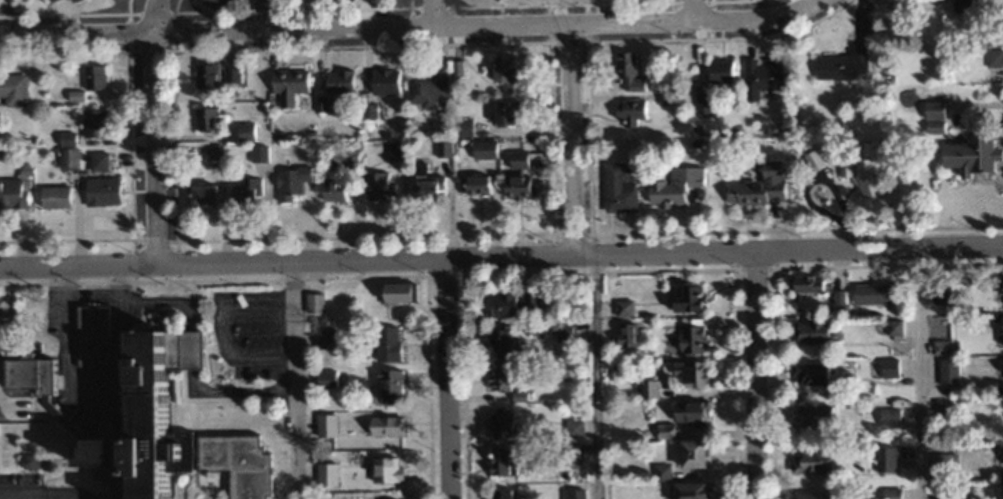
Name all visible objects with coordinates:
building: (349, 0)
building: (495, 0)
building: (72, 1)
building: (961, 4)
building: (218, 5)
road: (687, 9)
road: (422, 12)
park: (10, 13)
road: (410, 25)
building: (842, 66)
building: (503, 70)
building: (628, 71)
building: (719, 71)
building: (231, 74)
building: (205, 76)
building: (764, 76)
building: (93, 77)
building: (338, 81)
building: (382, 82)
building: (286, 87)
building: (424, 87)
building: (13, 90)
building: (702, 103)
road: (978, 105)
building: (630, 109)
building: (504, 112)
building: (205, 119)
building: (933, 119)
building: (93, 124)
road: (155, 131)
building: (244, 133)
road: (571, 136)
building: (444, 148)
building: (483, 150)
building: (214, 154)
building: (258, 155)
building: (972, 155)
building: (68, 159)
building: (517, 159)
building: (812, 161)
building: (97, 162)
building: (862, 176)
building: (290, 182)
building: (475, 184)
building: (516, 186)
building: (618, 186)
building: (674, 186)
building: (378, 187)
building: (427, 187)
building: (758, 188)
building: (332, 189)
building: (14, 191)
building: (101, 192)
building: (245, 193)
building: (201, 195)
building: (54, 198)
road: (501, 255)
building: (807, 284)
building: (398, 293)
building: (871, 294)
road: (114, 295)
building: (687, 299)
road: (162, 301)
building: (313, 303)
building: (512, 303)
building: (623, 308)
building: (562, 328)
building: (1002, 331)
building: (810, 332)
road: (218, 333)
building: (626, 334)
building: (690, 335)
building: (91, 337)
building: (323, 339)
building: (386, 343)
road: (66, 344)
building: (499, 344)
road: (190, 350)
building: (894, 369)
building: (688, 372)
road: (917, 372)
building: (948, 372)
road: (756, 374)
building: (808, 374)
building: (29, 375)
road: (594, 375)
road: (446, 378)
road: (292, 379)
building: (325, 379)
building: (505, 382)
building: (389, 386)
road: (235, 392)
building: (688, 411)
building: (812, 416)
building: (888, 418)
building: (501, 423)
road: (370, 424)
building: (167, 426)
building: (572, 428)
building: (568, 451)
building: (691, 453)
building: (884, 459)
building: (811, 462)
building: (501, 463)
building: (943, 464)
road: (371, 475)
building: (687, 490)
building: (890, 493)
building: (500, 494)
building: (572, 494)
building: (810, 495)
road: (36, 496)
building: (945, 496)

